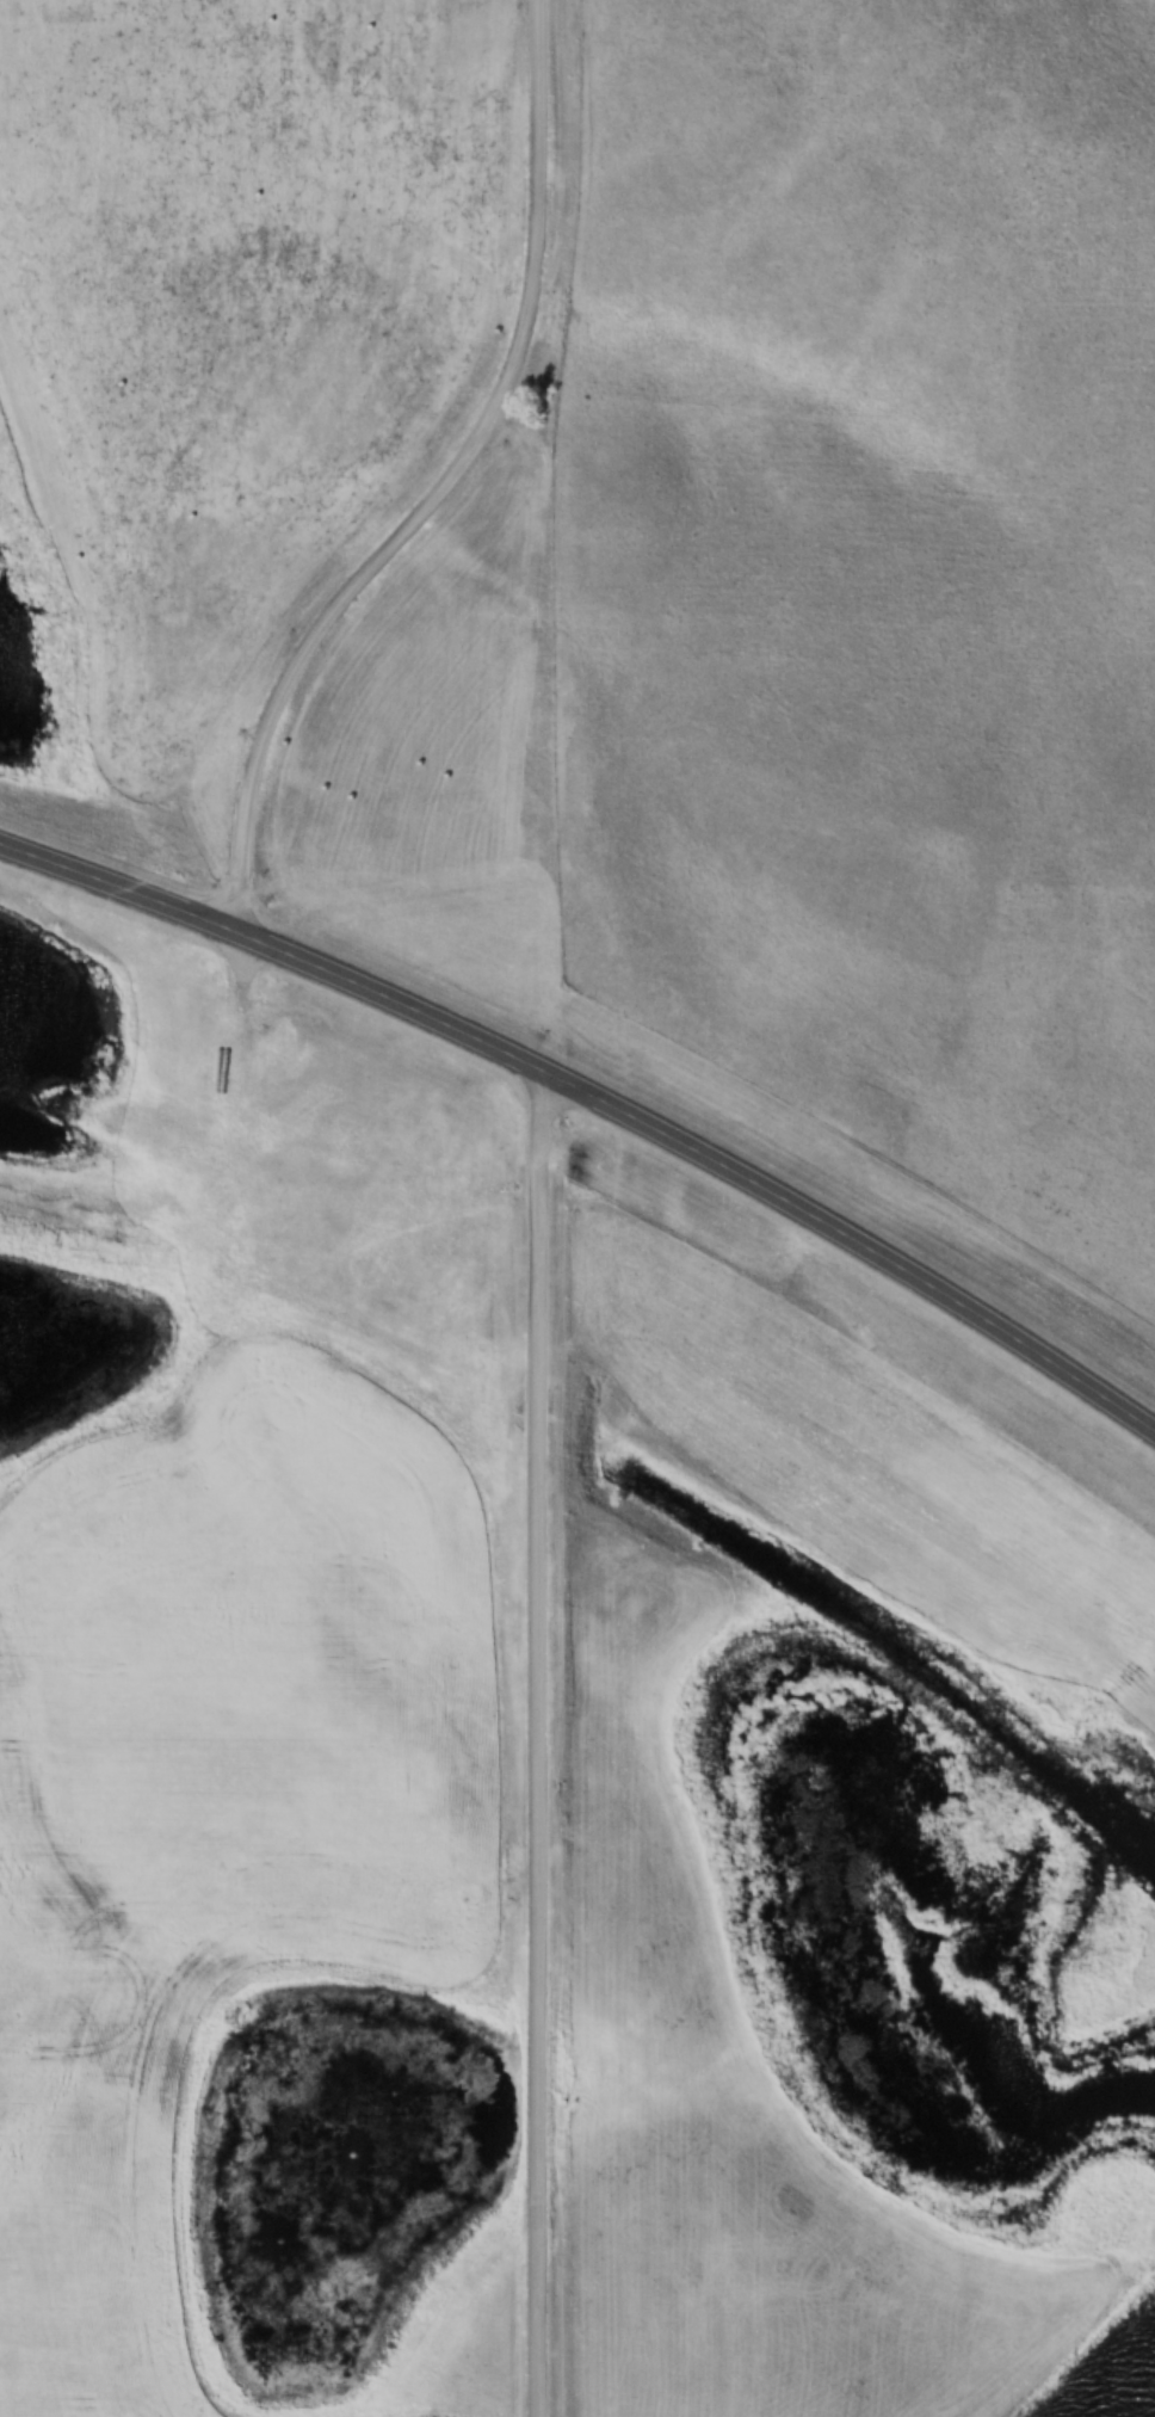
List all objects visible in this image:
road: (437, 480)
road: (597, 1100)
road: (538, 1744)

